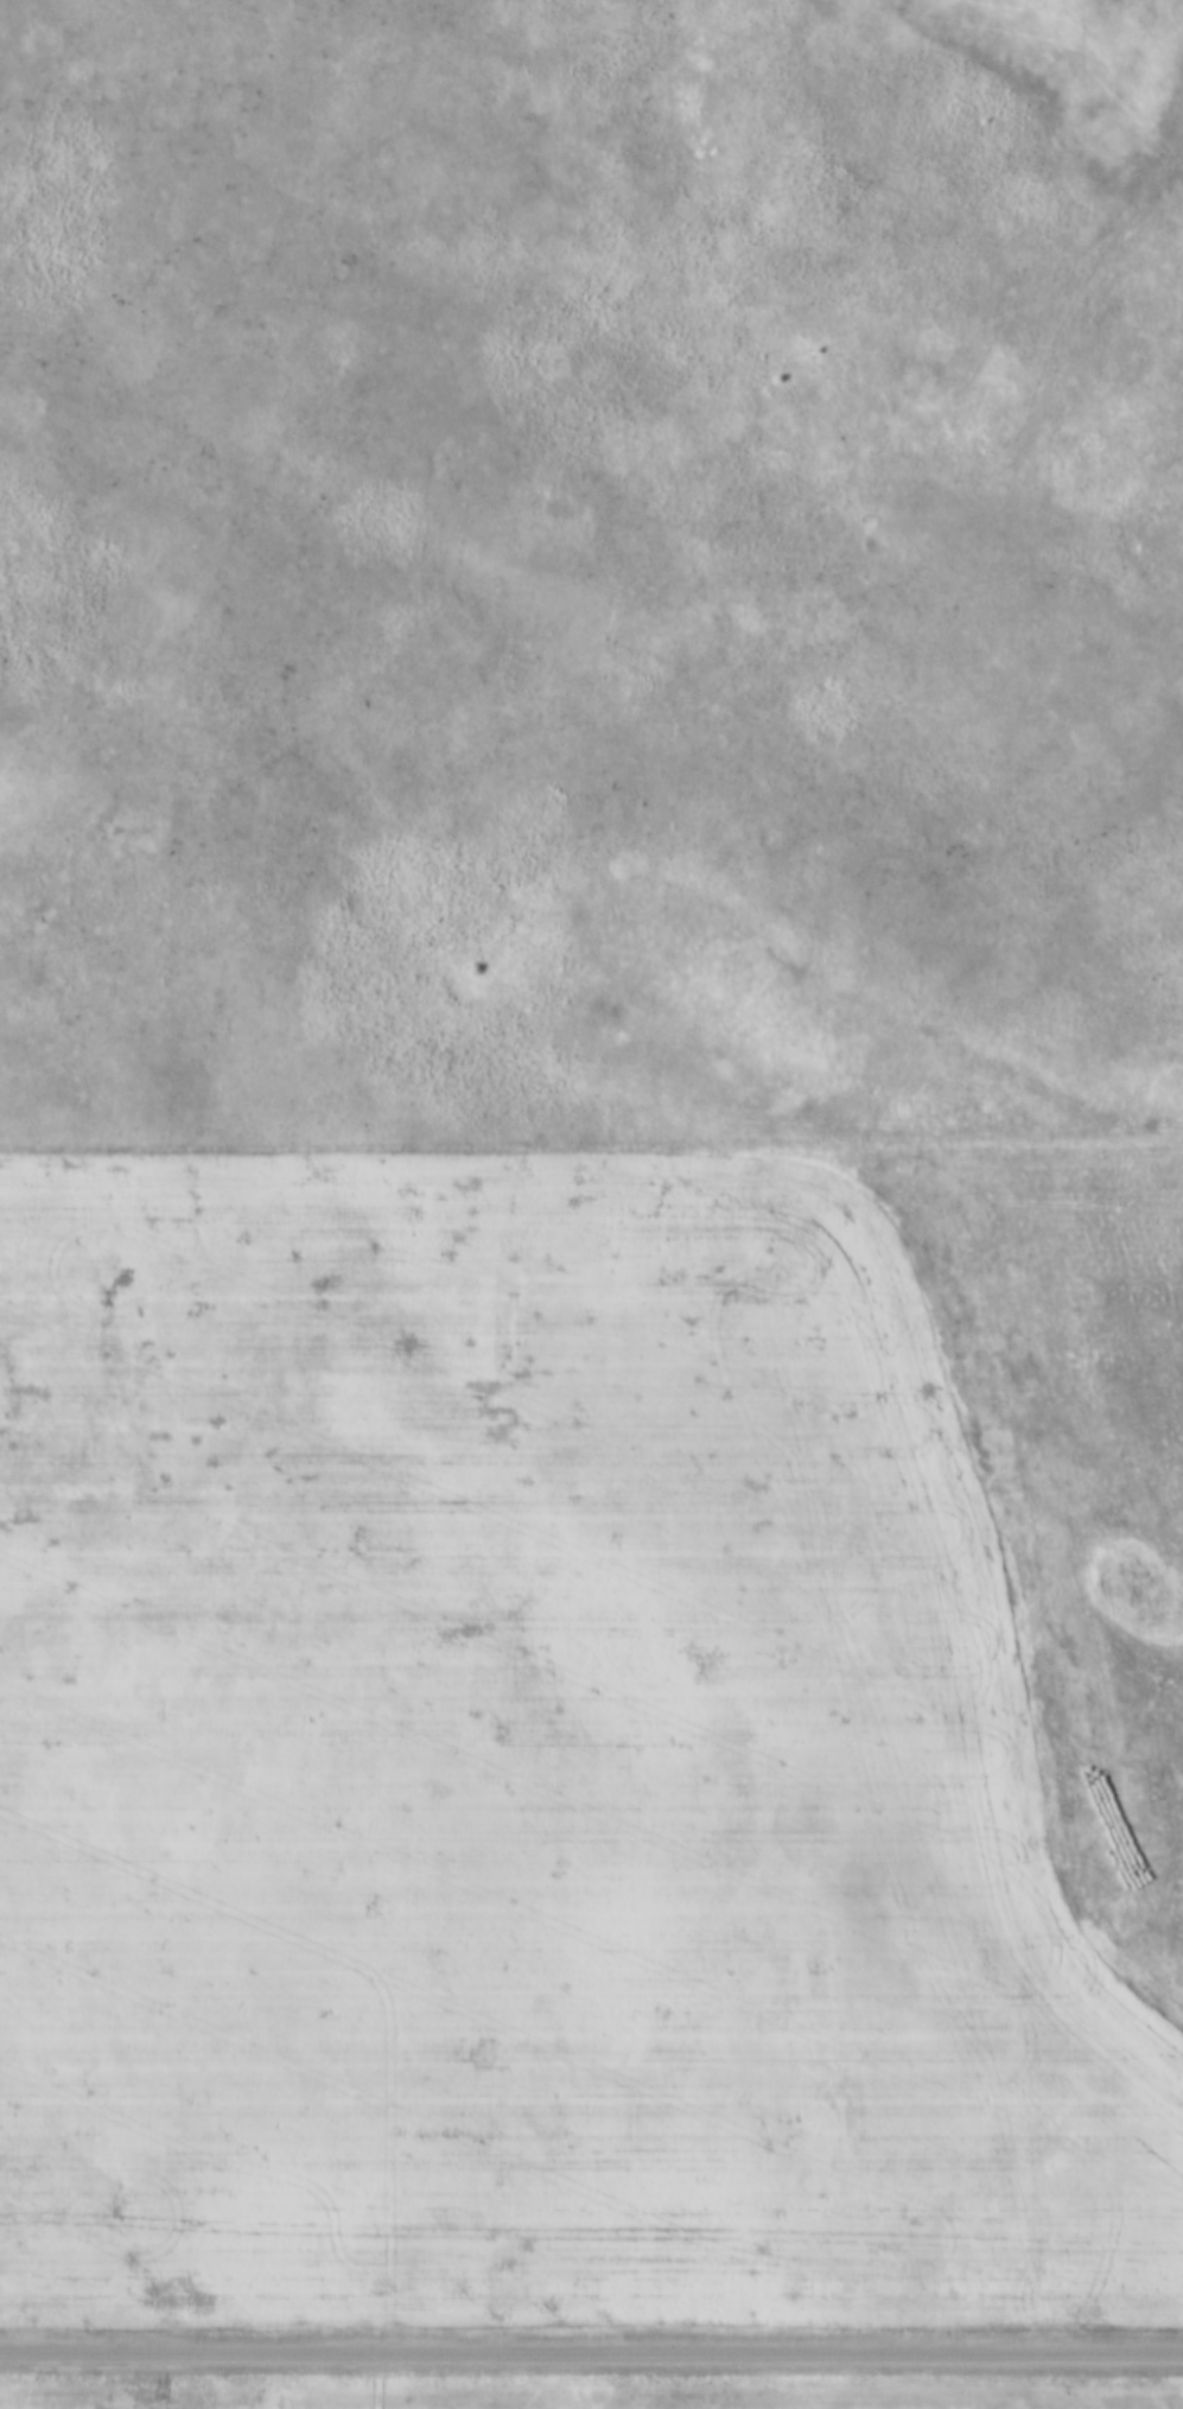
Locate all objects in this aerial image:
road: (591, 2350)

